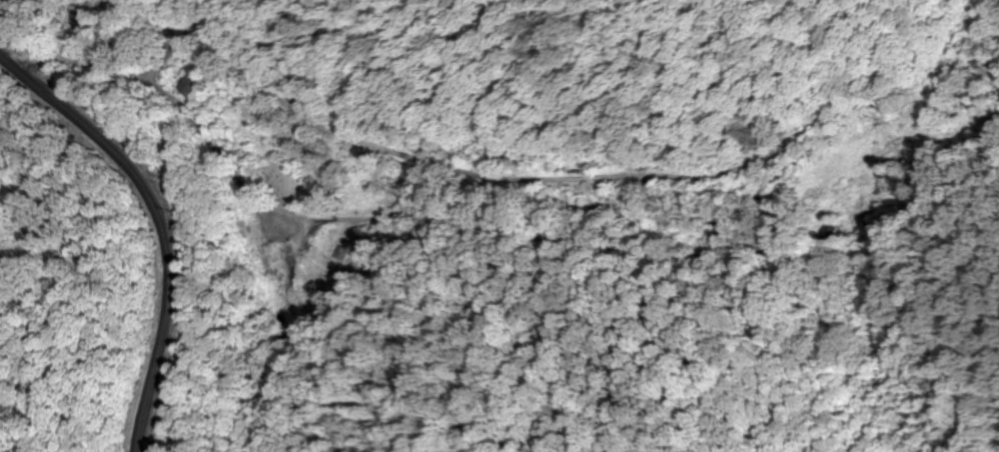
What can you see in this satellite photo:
building: (190, 85)
road: (156, 223)

